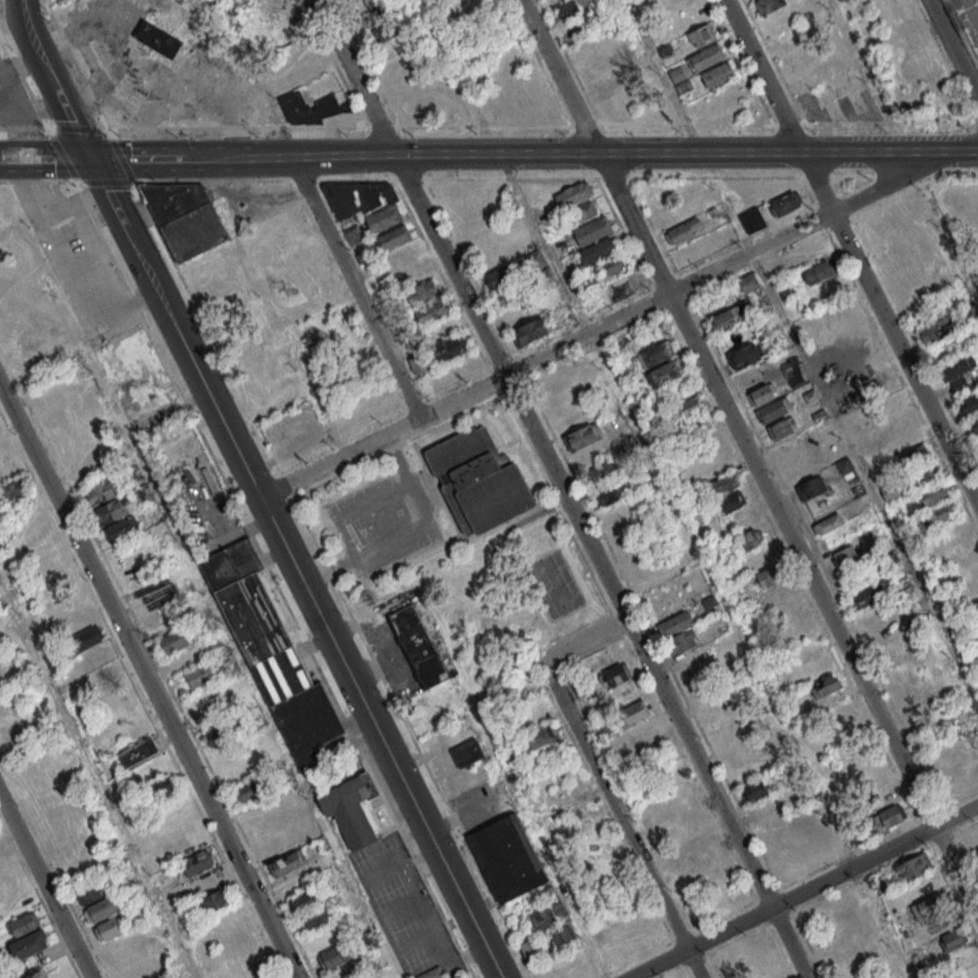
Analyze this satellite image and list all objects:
building: (769, 5)
building: (572, 8)
building: (378, 23)
building: (576, 26)
building: (701, 36)
building: (156, 40)
road: (952, 51)
building: (707, 57)
building: (100, 58)
road: (662, 74)
road: (558, 75)
building: (717, 75)
road: (762, 75)
road: (354, 76)
building: (680, 79)
road: (53, 81)
building: (838, 85)
building: (125, 96)
building: (177, 102)
building: (307, 109)
road: (568, 151)
road: (10, 160)
road: (57, 161)
traffic signals: (92, 161)
road: (126, 161)
road: (488, 177)
building: (573, 194)
building: (365, 203)
building: (784, 203)
building: (584, 211)
building: (185, 217)
building: (752, 220)
building: (592, 230)
building: (683, 230)
building: (354, 235)
building: (877, 235)
building: (394, 237)
road: (86, 238)
building: (599, 250)
building: (616, 263)
building: (817, 272)
building: (748, 283)
building: (505, 285)
building: (622, 285)
road: (353, 287)
building: (421, 291)
building: (431, 311)
building: (520, 312)
building: (728, 318)
road: (888, 326)
road: (599, 328)
building: (938, 328)
building: (531, 331)
building: (450, 348)
building: (655, 354)
building: (745, 355)
building: (419, 366)
road: (811, 368)
building: (957, 371)
building: (665, 373)
building: (793, 373)
building: (135, 374)
building: (762, 394)
building: (969, 404)
building: (685, 408)
building: (774, 409)
building: (974, 426)
building: (693, 428)
building: (782, 428)
building: (582, 437)
building: (302, 445)
building: (912, 456)
building: (845, 468)
building: (602, 472)
building: (921, 476)
building: (478, 481)
building: (722, 484)
building: (811, 487)
building: (13, 489)
building: (100, 493)
building: (931, 495)
building: (731, 500)
road: (348, 507)
building: (110, 512)
building: (942, 512)
building: (828, 524)
building: (122, 529)
road: (404, 530)
road: (786, 532)
building: (751, 538)
park: (460, 548)
building: (847, 557)
road: (599, 565)
road: (296, 570)
building: (768, 576)
building: (868, 594)
building: (678, 632)
building: (88, 638)
building: (175, 641)
road: (586, 641)
building: (418, 646)
building: (273, 655)
building: (617, 674)
building: (199, 676)
building: (820, 676)
road: (150, 678)
building: (582, 689)
building: (633, 713)
building: (641, 733)
building: (219, 735)
building: (539, 737)
building: (137, 752)
building: (466, 753)
building: (161, 785)
building: (756, 789)
building: (244, 792)
building: (769, 807)
building: (350, 808)
road: (614, 809)
building: (890, 816)
building: (698, 844)
building: (977, 849)
building: (509, 858)
building: (197, 862)
building: (287, 863)
building: (912, 868)
road: (47, 883)
road: (804, 891)
building: (89, 894)
building: (215, 900)
building: (305, 900)
building: (928, 906)
building: (105, 908)
road: (422, 913)
building: (546, 917)
building: (316, 919)
building: (23, 924)
building: (114, 926)
building: (562, 935)
building: (953, 938)
building: (29, 944)
building: (531, 949)
building: (334, 956)
road: (692, 964)
building: (432, 973)
building: (461, 977)

